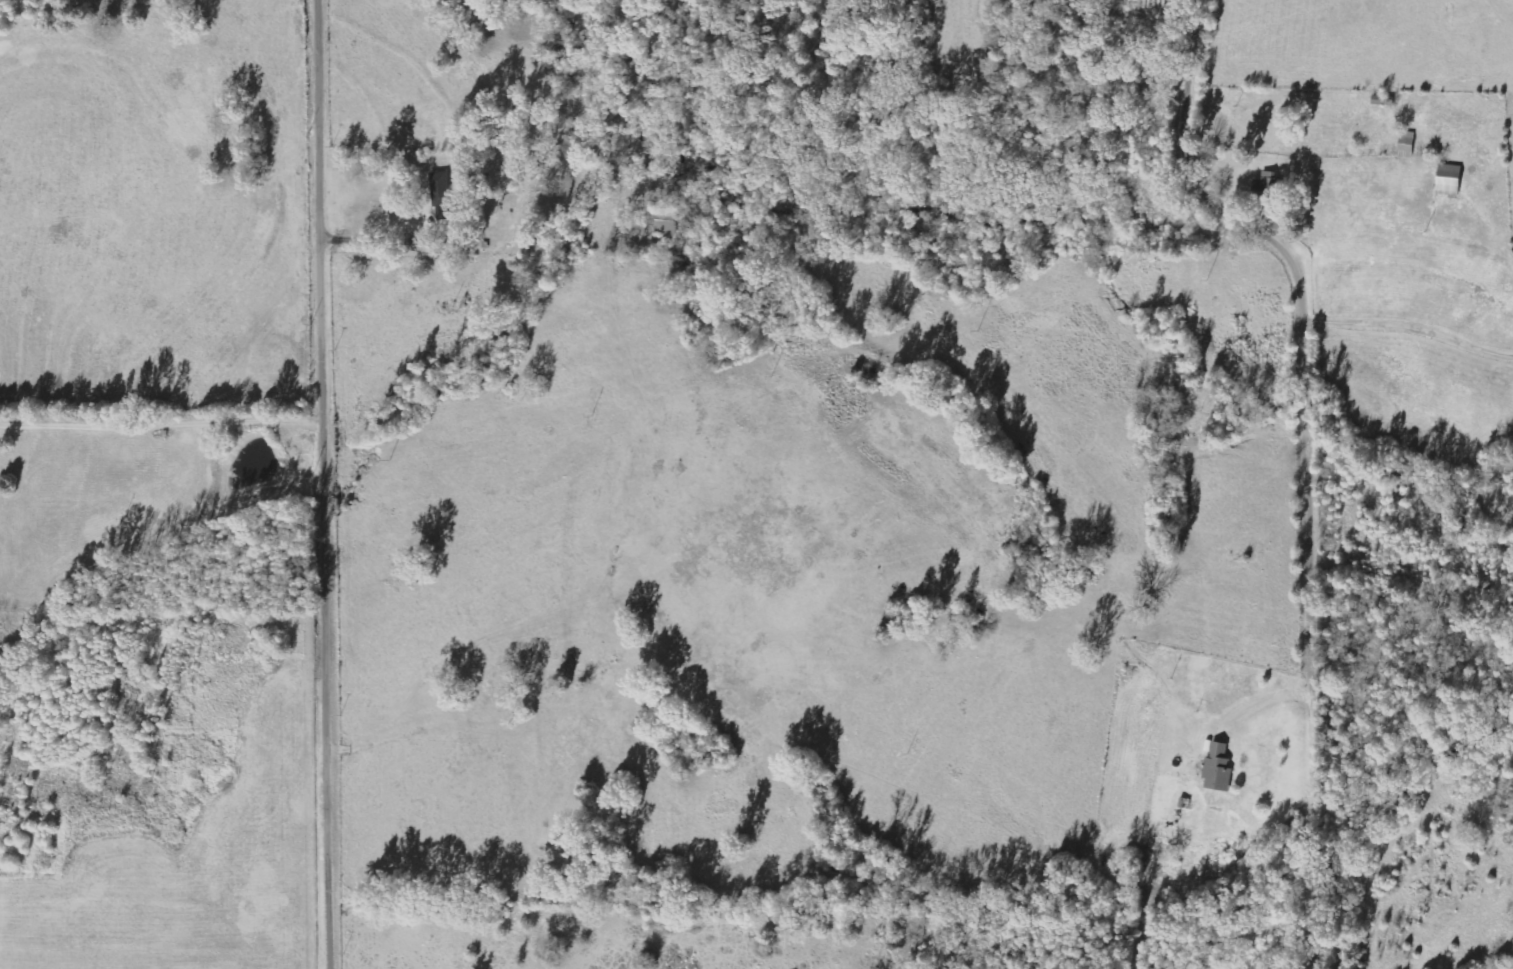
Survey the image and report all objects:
building: (1450, 180)
building: (1267, 183)
building: (443, 195)
road: (1316, 458)
road: (332, 484)
road: (167, 609)
building: (1219, 769)

